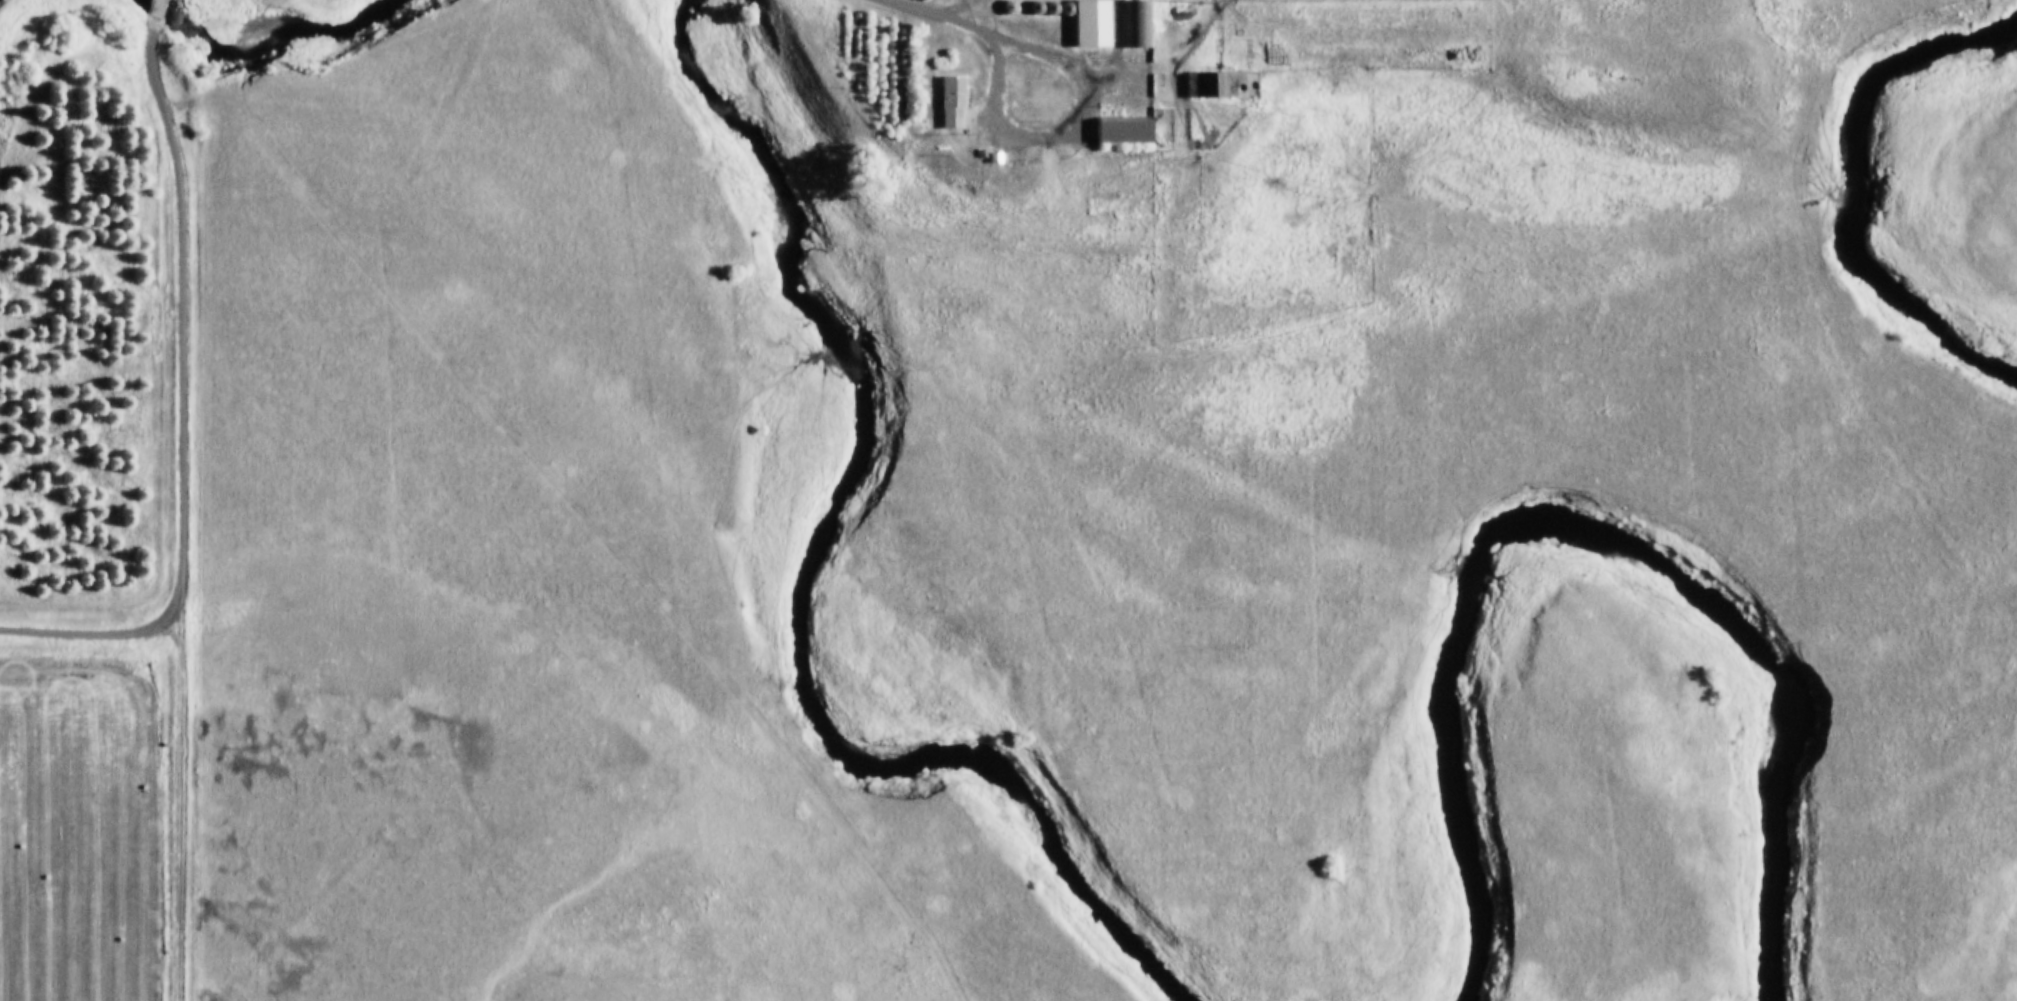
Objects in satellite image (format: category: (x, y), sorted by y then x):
road: (158, 10)
road: (968, 10)
road: (999, 34)
building: (1192, 82)
building: (933, 99)
road: (181, 314)
road: (92, 633)
road: (178, 807)

